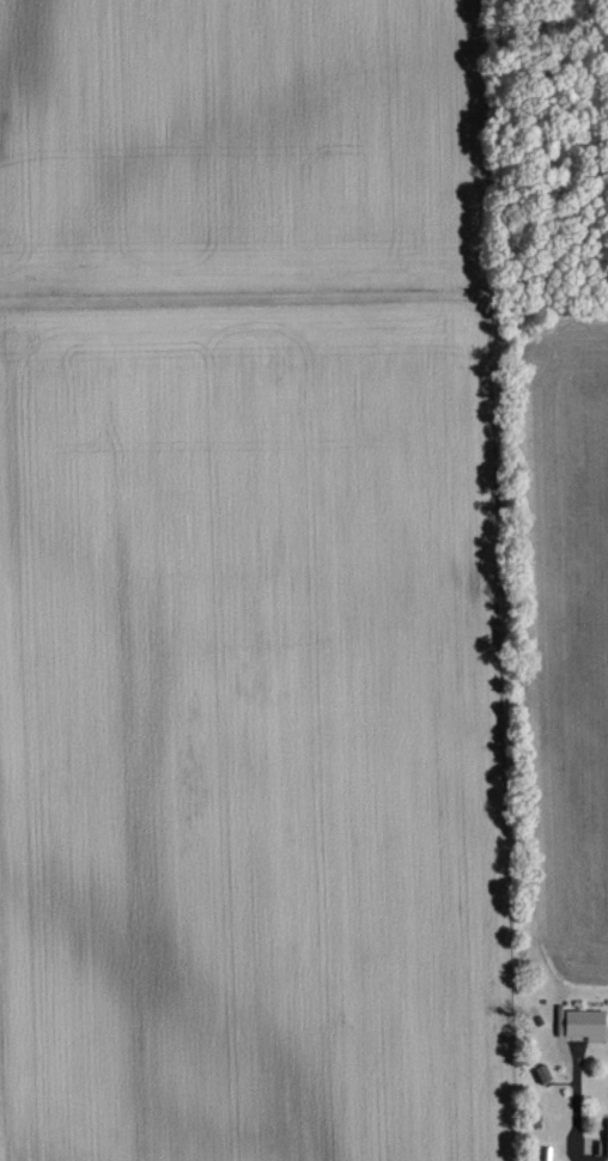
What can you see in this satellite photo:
building: (586, 1026)
road: (595, 1157)

